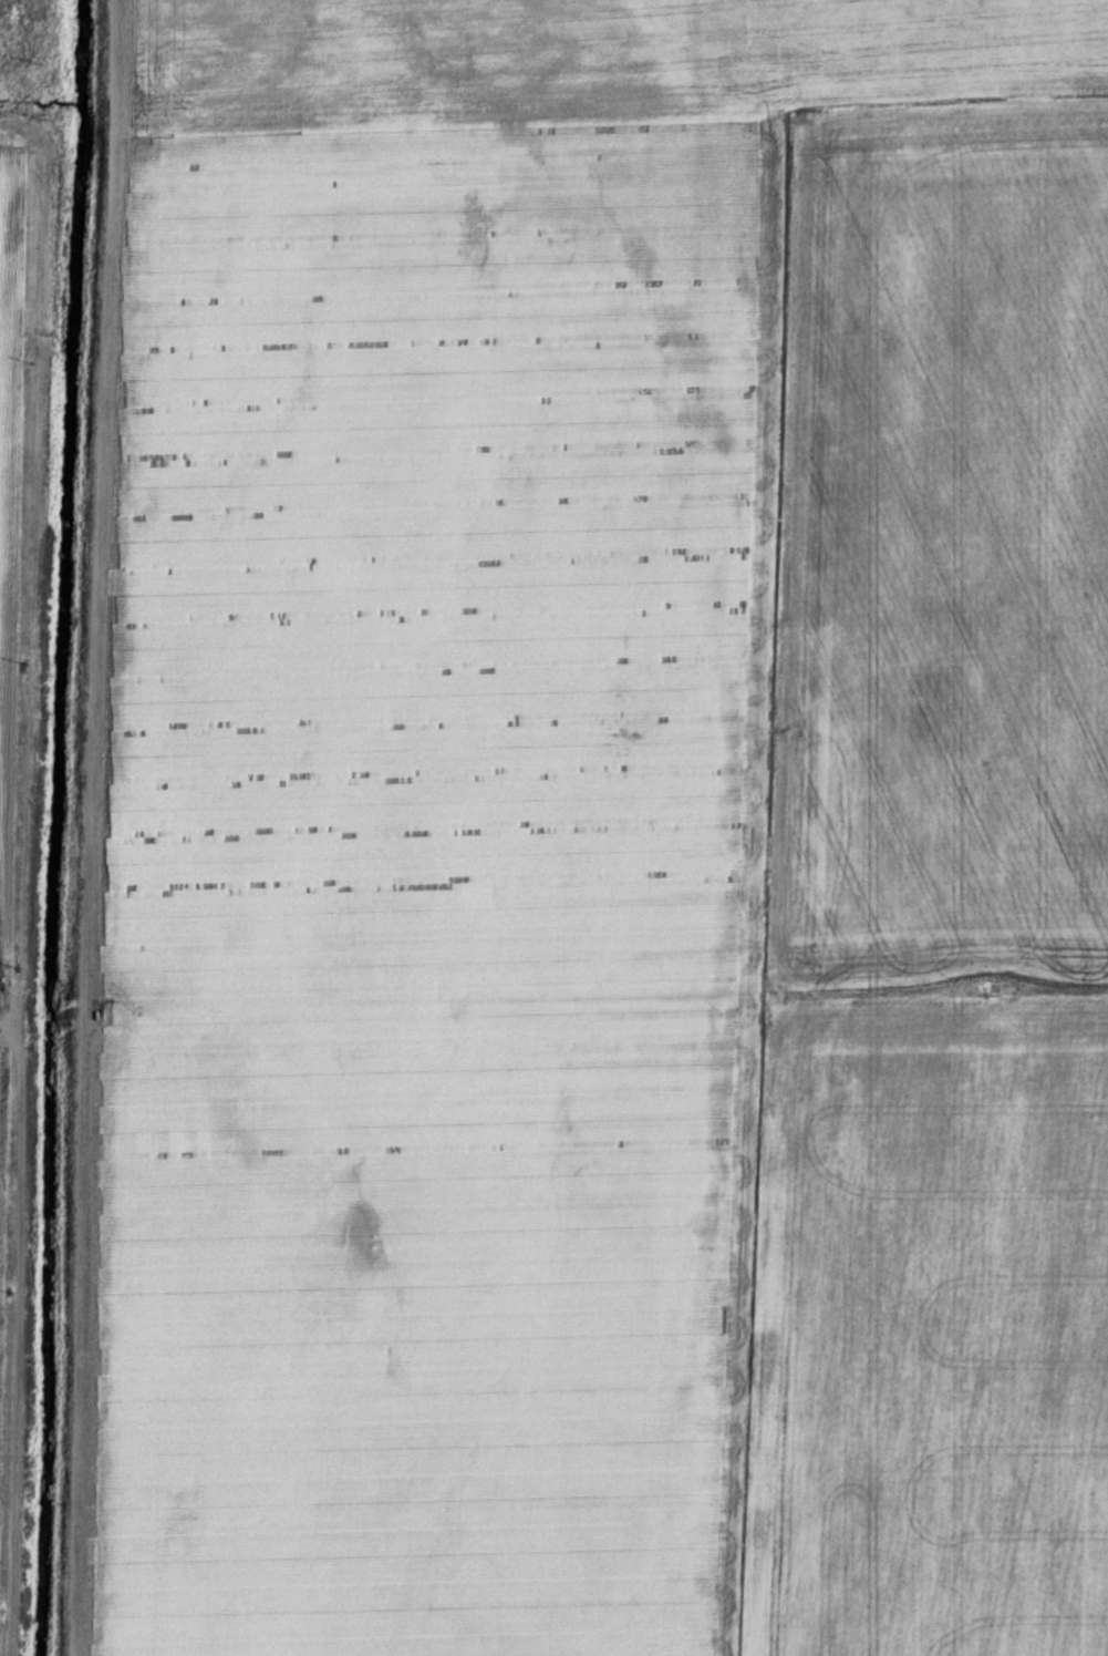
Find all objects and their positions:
road: (783, 393)
road: (93, 827)
road: (30, 870)

